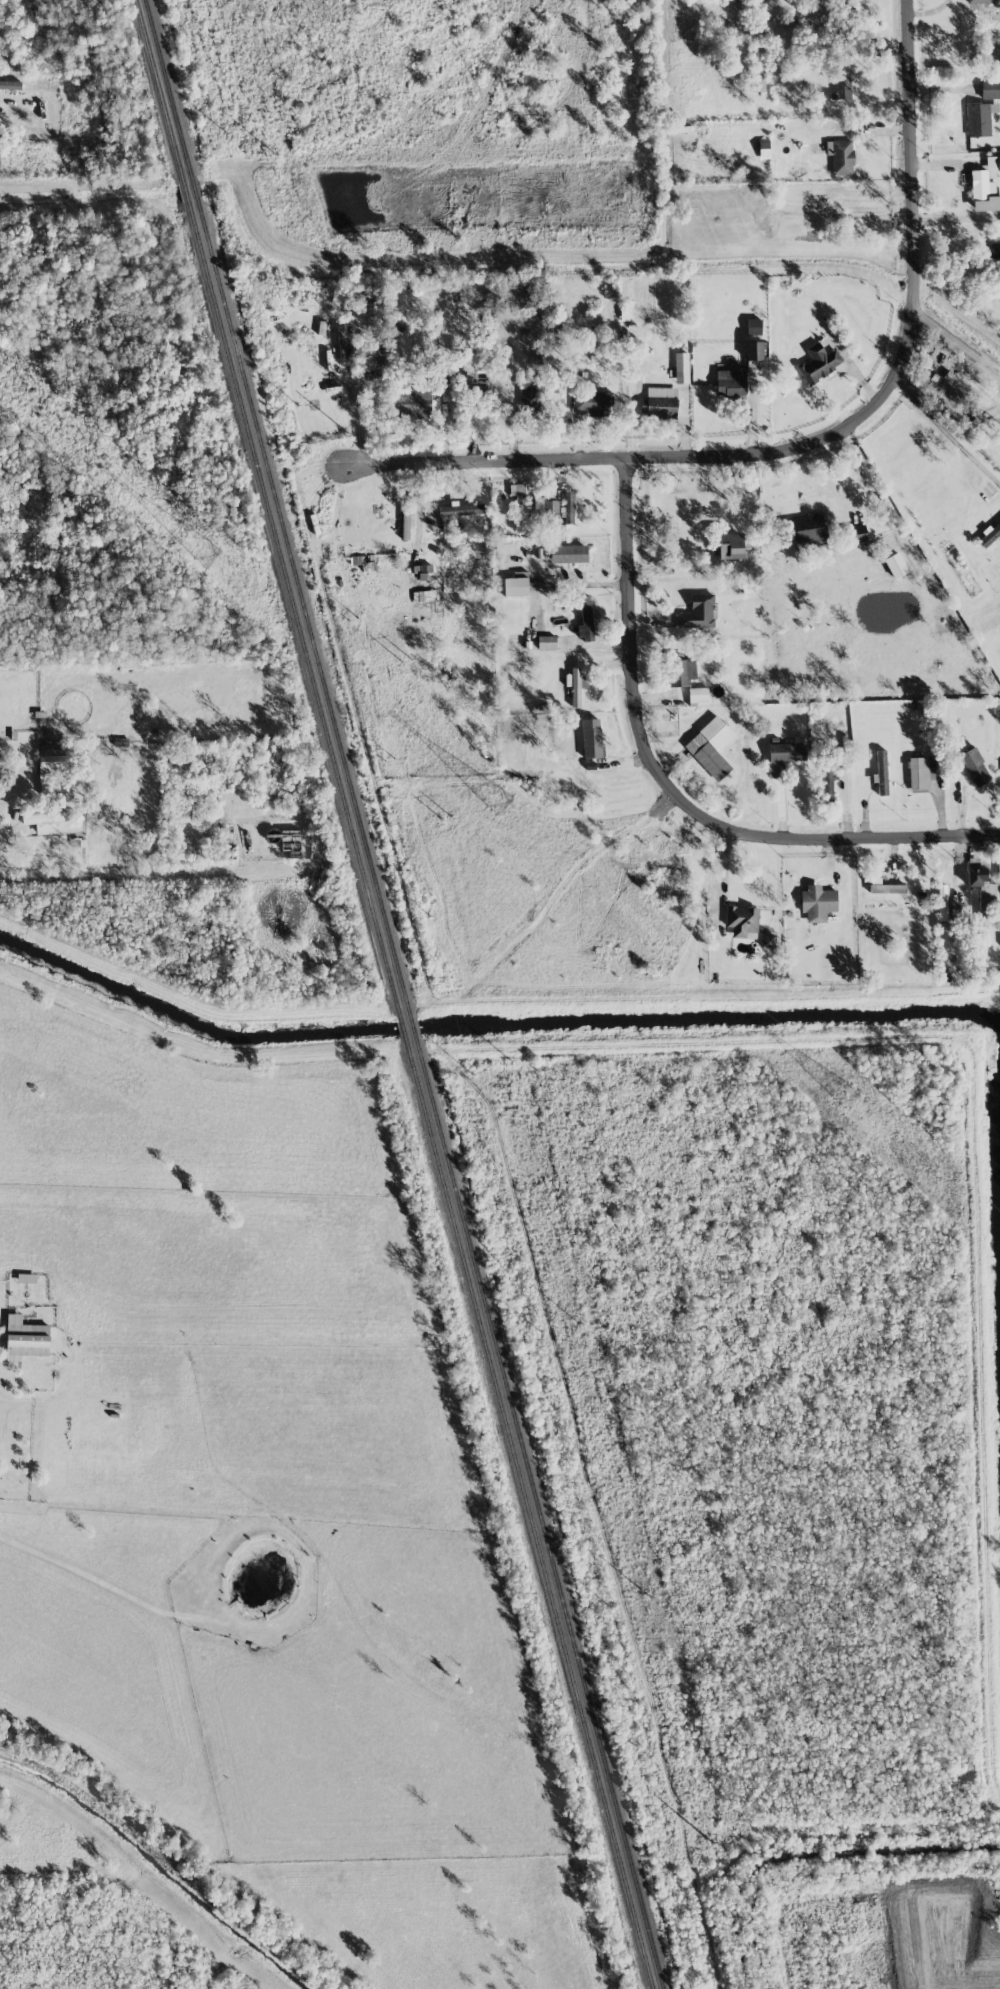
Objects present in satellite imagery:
building: (977, 1)
road: (933, 15)
building: (757, 80)
building: (10, 85)
building: (841, 88)
building: (990, 89)
power tower: (221, 113)
building: (979, 119)
power tower: (270, 135)
building: (764, 148)
building: (841, 156)
building: (993, 163)
building: (983, 192)
road: (958, 222)
building: (993, 251)
building: (753, 326)
road: (959, 345)
building: (346, 347)
building: (754, 351)
power tower: (285, 357)
building: (819, 363)
building: (681, 367)
building: (731, 382)
building: (957, 383)
building: (530, 400)
building: (661, 402)
building: (412, 403)
building: (590, 403)
power tower: (343, 418)
road: (948, 435)
road: (823, 438)
road: (857, 467)
building: (569, 505)
building: (550, 506)
railway: (267, 509)
railway: (276, 509)
building: (808, 530)
building: (856, 533)
building: (990, 535)
building: (730, 545)
building: (568, 554)
power tower: (218, 564)
building: (895, 565)
road: (568, 582)
building: (515, 586)
power tower: (348, 601)
building: (698, 613)
building: (585, 619)
building: (546, 642)
power tower: (405, 656)
building: (680, 672)
building: (575, 687)
building: (698, 694)
building: (591, 738)
building: (710, 747)
building: (785, 752)
building: (974, 766)
building: (49, 769)
building: (881, 773)
building: (919, 773)
power tower: (394, 776)
building: (827, 785)
power tower: (483, 788)
road: (677, 790)
building: (44, 821)
power tower: (449, 827)
road: (722, 874)
building: (887, 888)
building: (981, 890)
building: (817, 902)
building: (741, 920)
power tower: (661, 939)
building: (767, 940)
railway: (413, 1028)
railway: (403, 1029)
power tower: (466, 1057)
power tower: (515, 1079)
power tower: (924, 1162)
power tower: (535, 1322)
power tower: (581, 1334)
building: (25, 1338)
railway: (529, 1514)
railway: (538, 1514)
power tower: (647, 1590)
power tower: (607, 1598)
power tower: (996, 1840)
power tower: (715, 1849)
power tower: (679, 1875)

